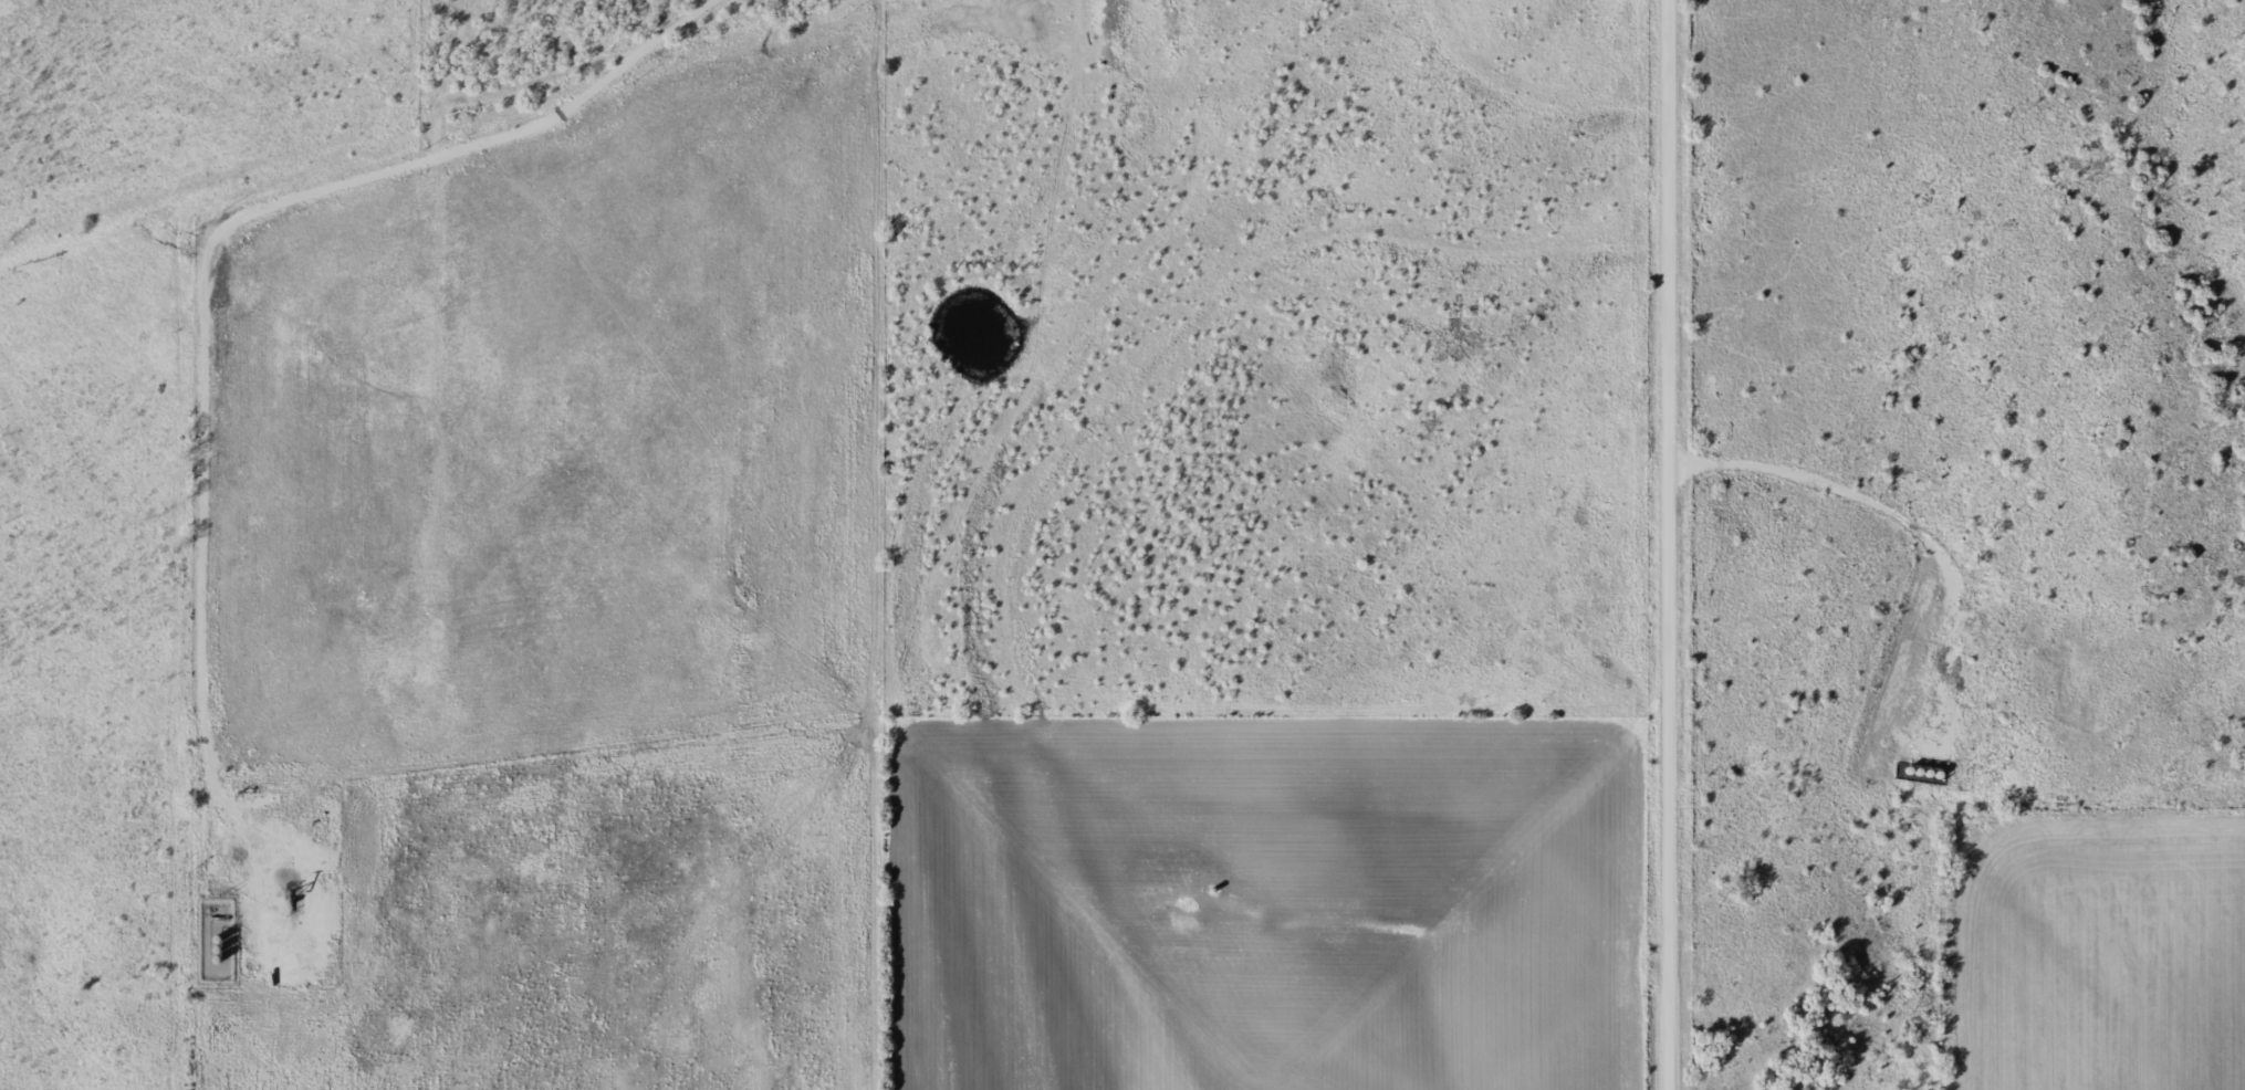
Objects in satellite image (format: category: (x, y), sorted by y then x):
railway: (418, 127)
road: (1666, 544)

